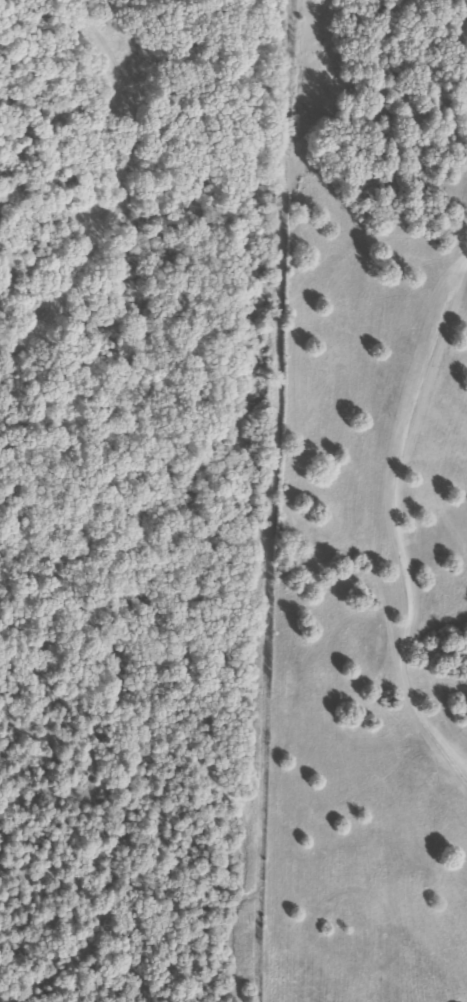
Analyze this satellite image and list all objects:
road: (239, 501)
road: (311, 876)

